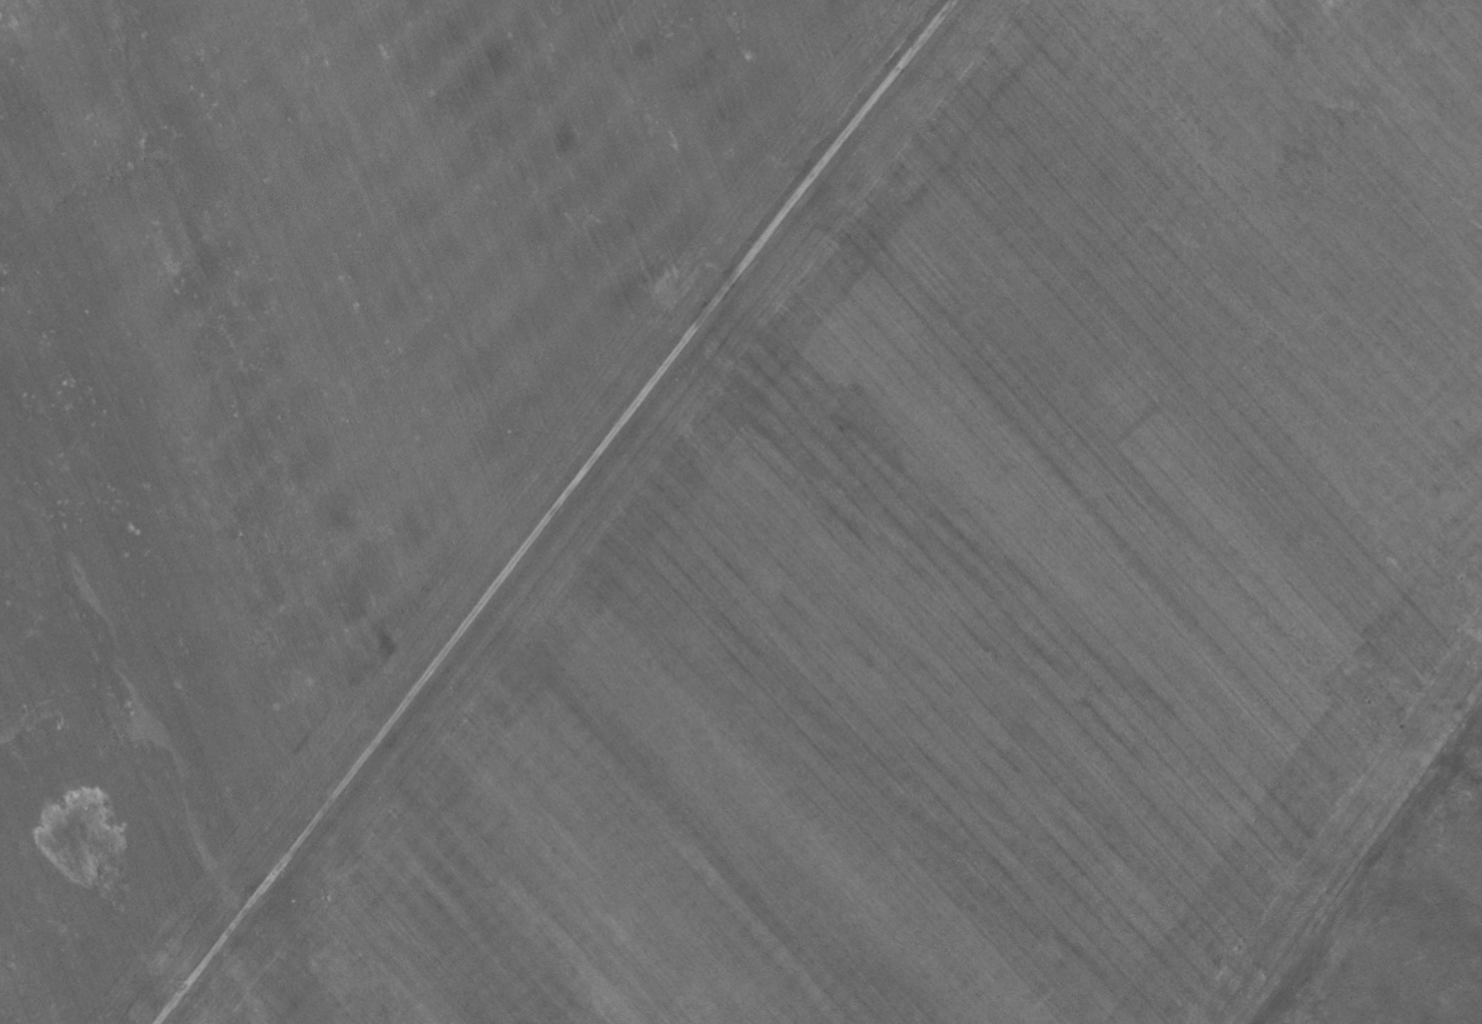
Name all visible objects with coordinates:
road: (555, 512)

